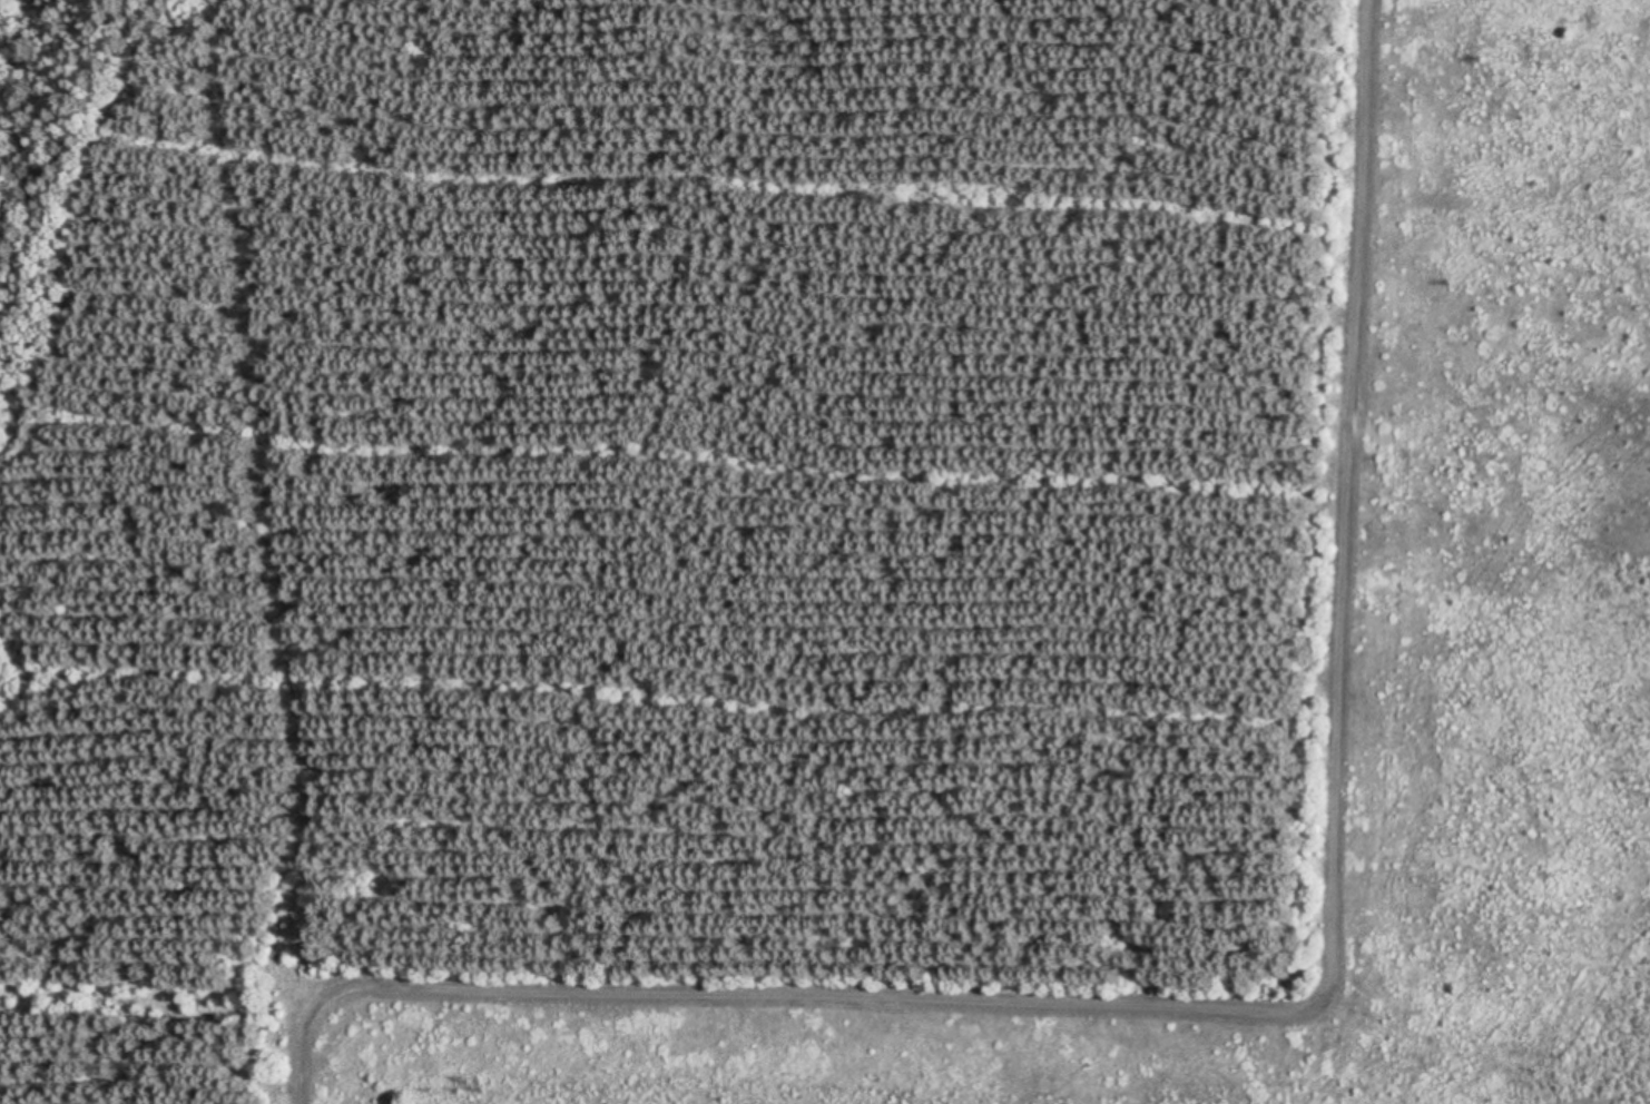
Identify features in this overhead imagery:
road: (1264, 1011)

